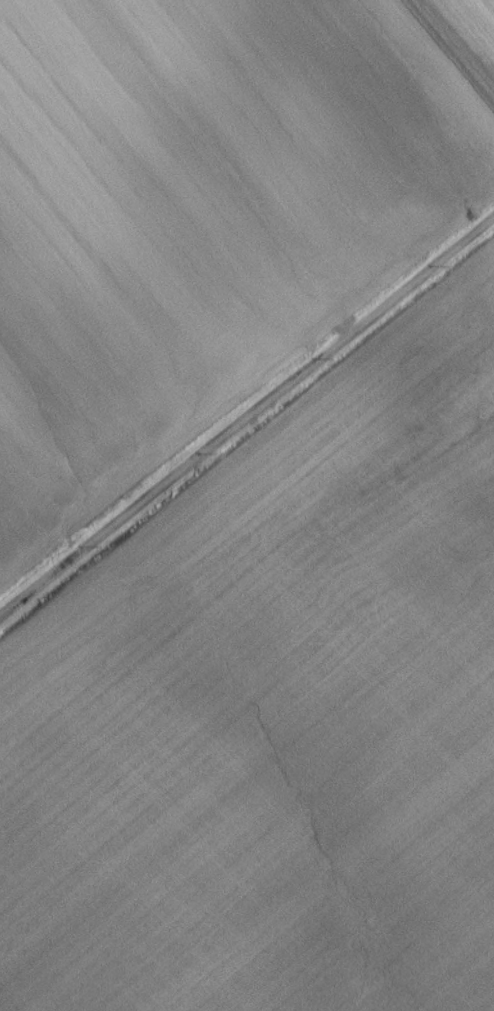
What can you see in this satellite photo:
road: (246, 417)

